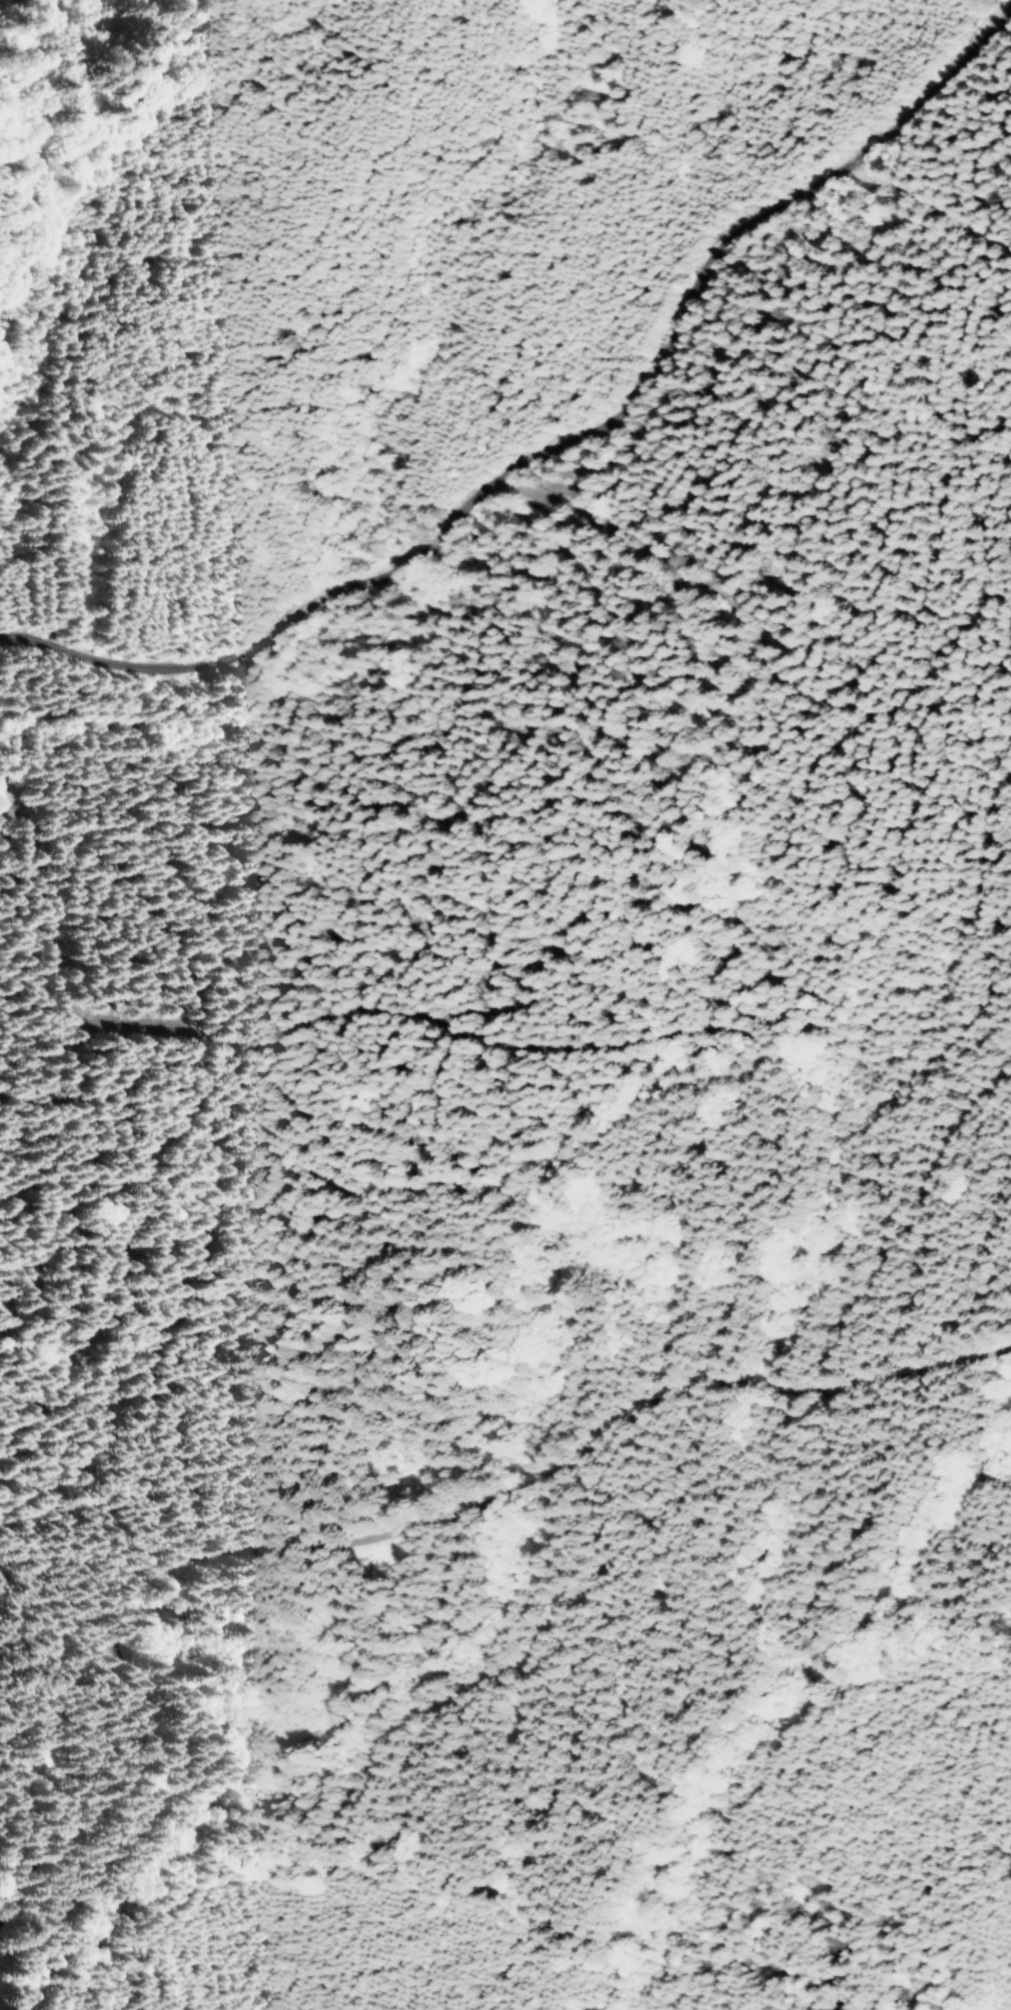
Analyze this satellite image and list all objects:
road: (591, 490)
road: (121, 1786)
road: (10, 1981)

